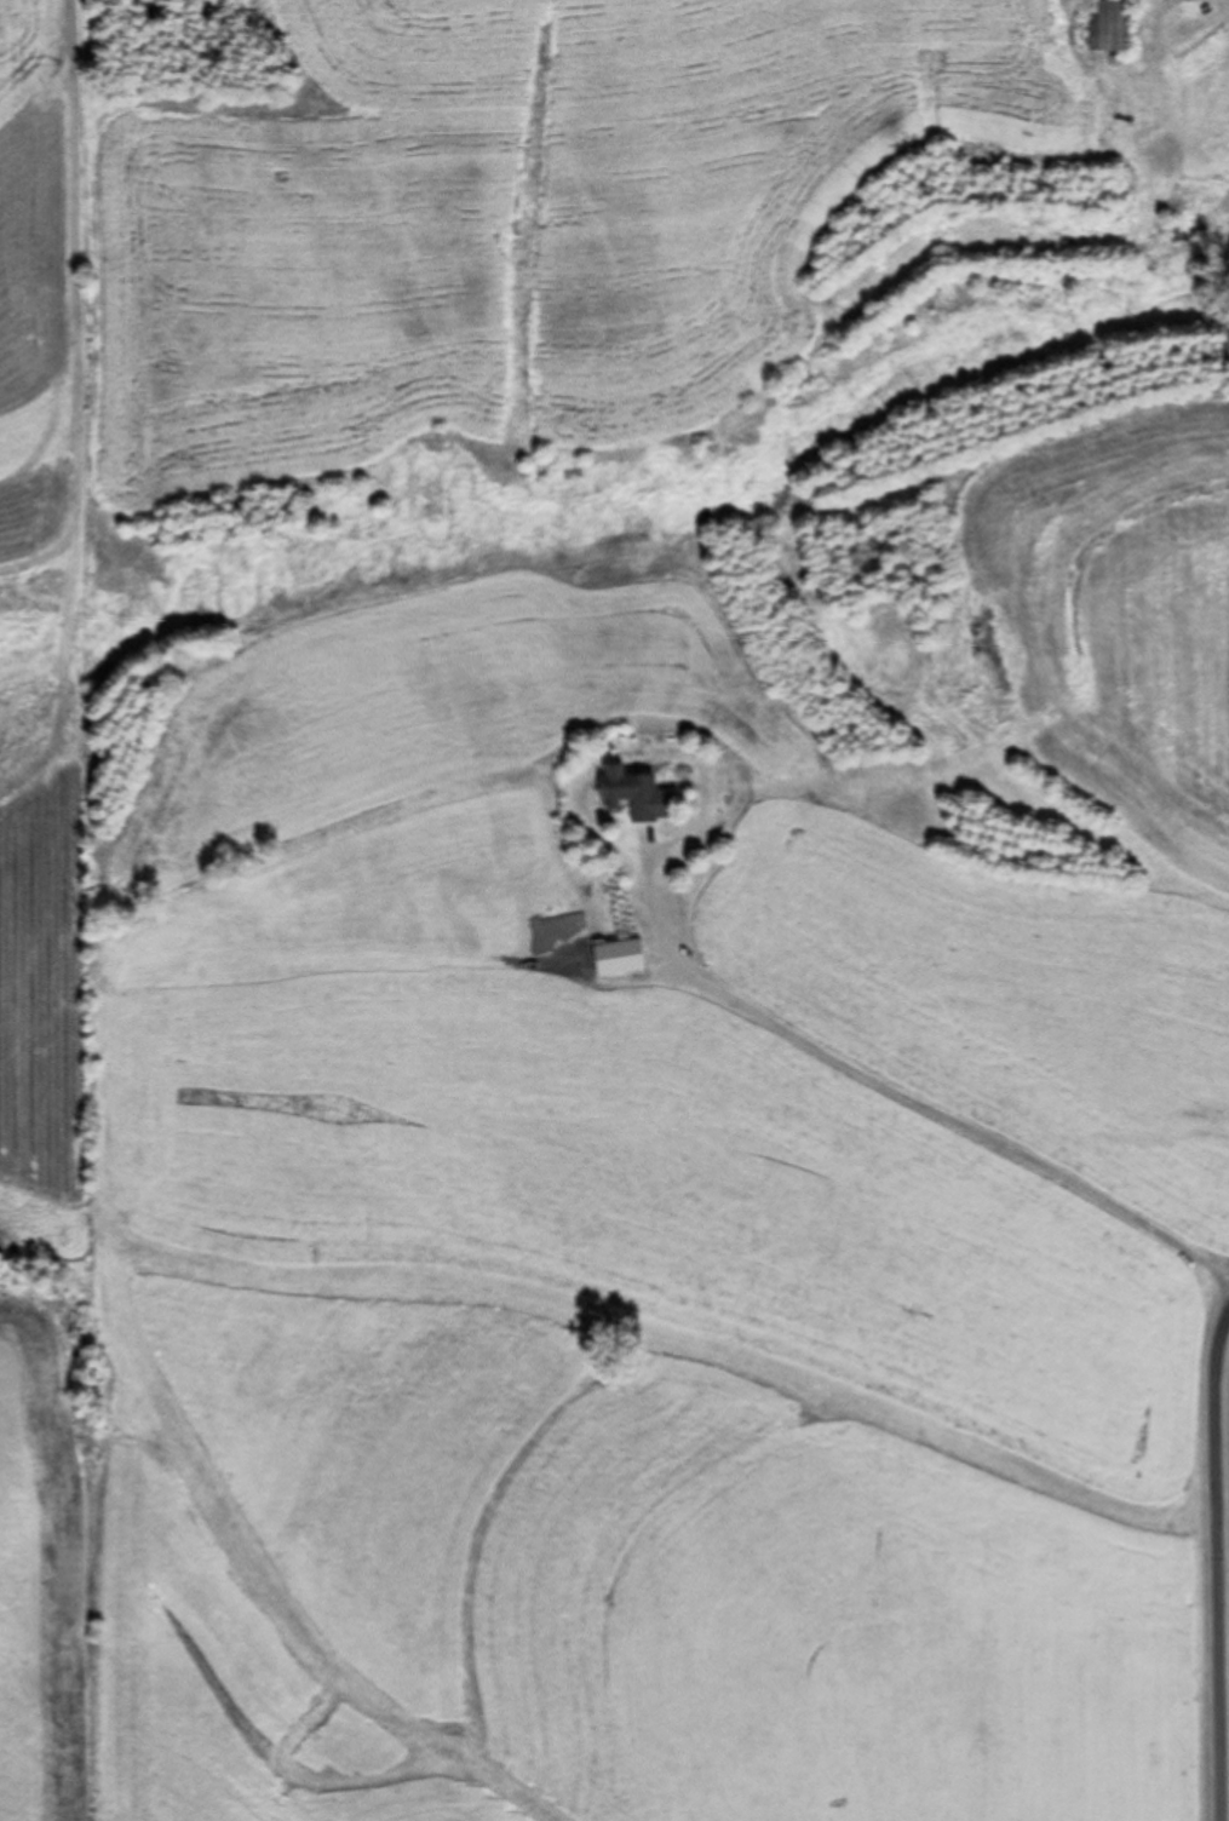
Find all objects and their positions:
building: (1105, 27)
building: (627, 795)
building: (615, 958)
road: (902, 1095)
road: (1227, 1447)

